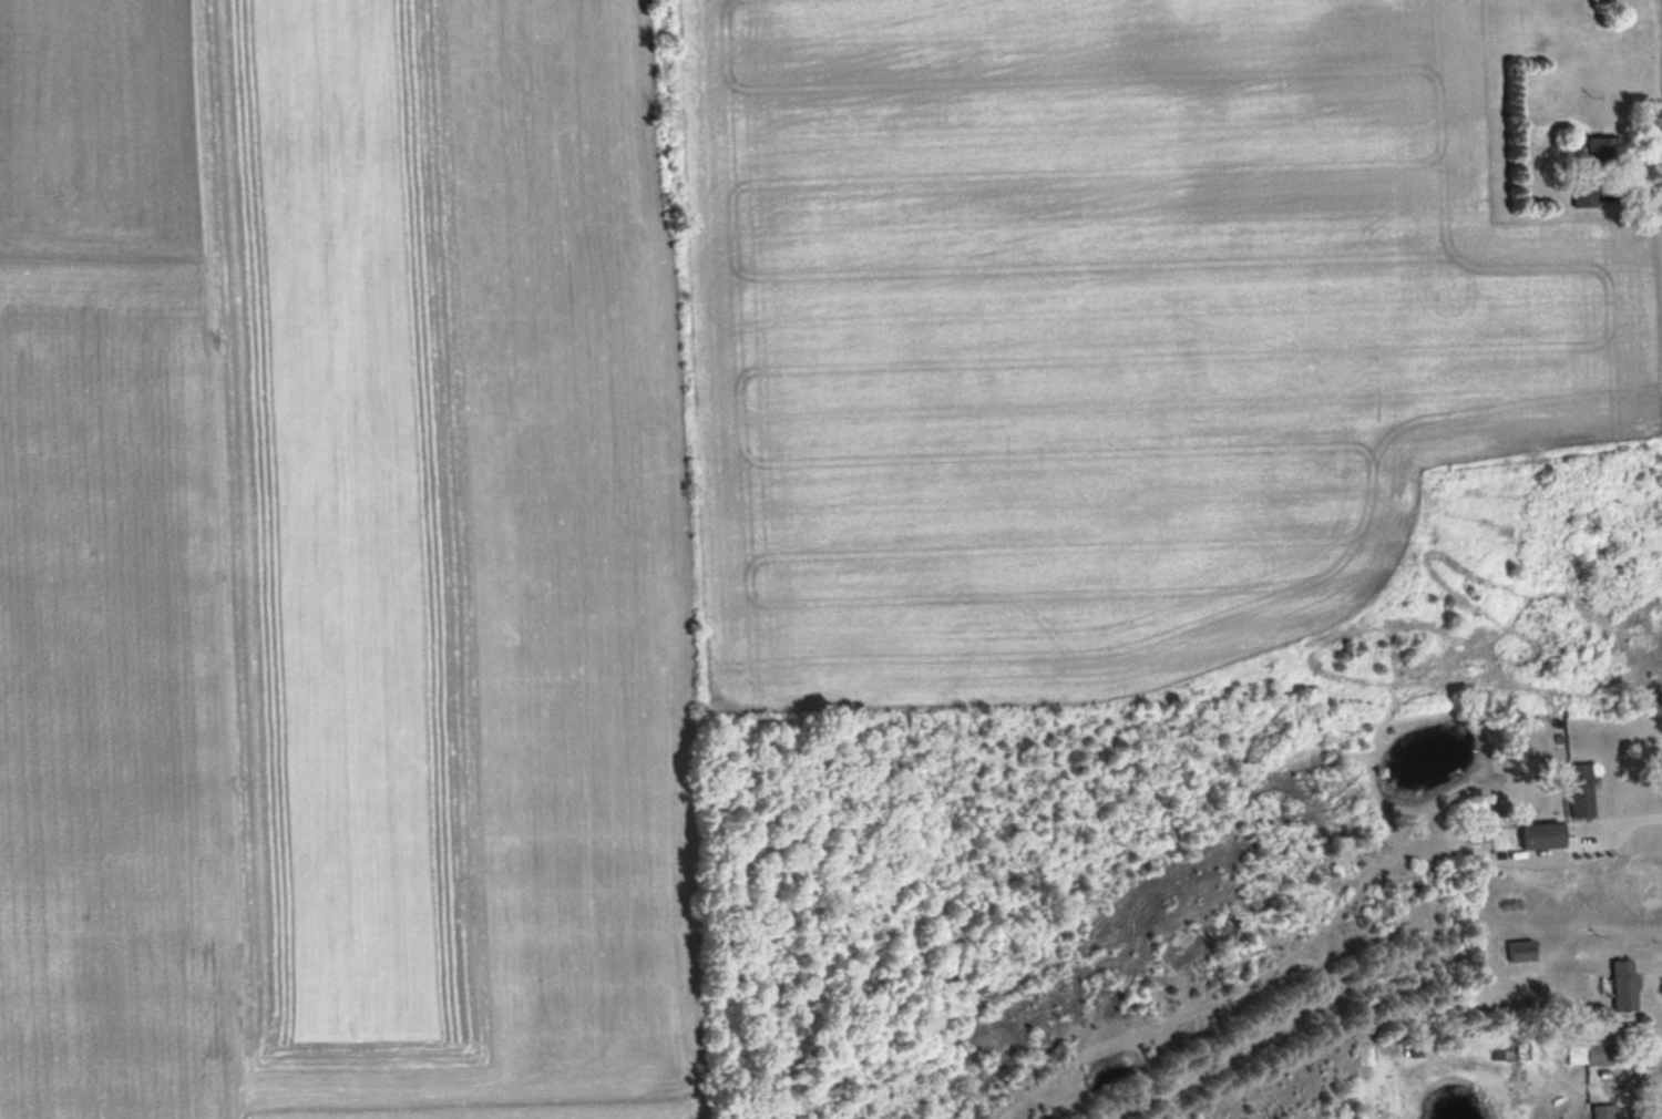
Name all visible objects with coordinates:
building: (1605, 146)
building: (1587, 192)
building: (1582, 790)
building: (1546, 835)
building: (1522, 949)
building: (1625, 984)
building: (1600, 1054)
building: (1605, 1111)

